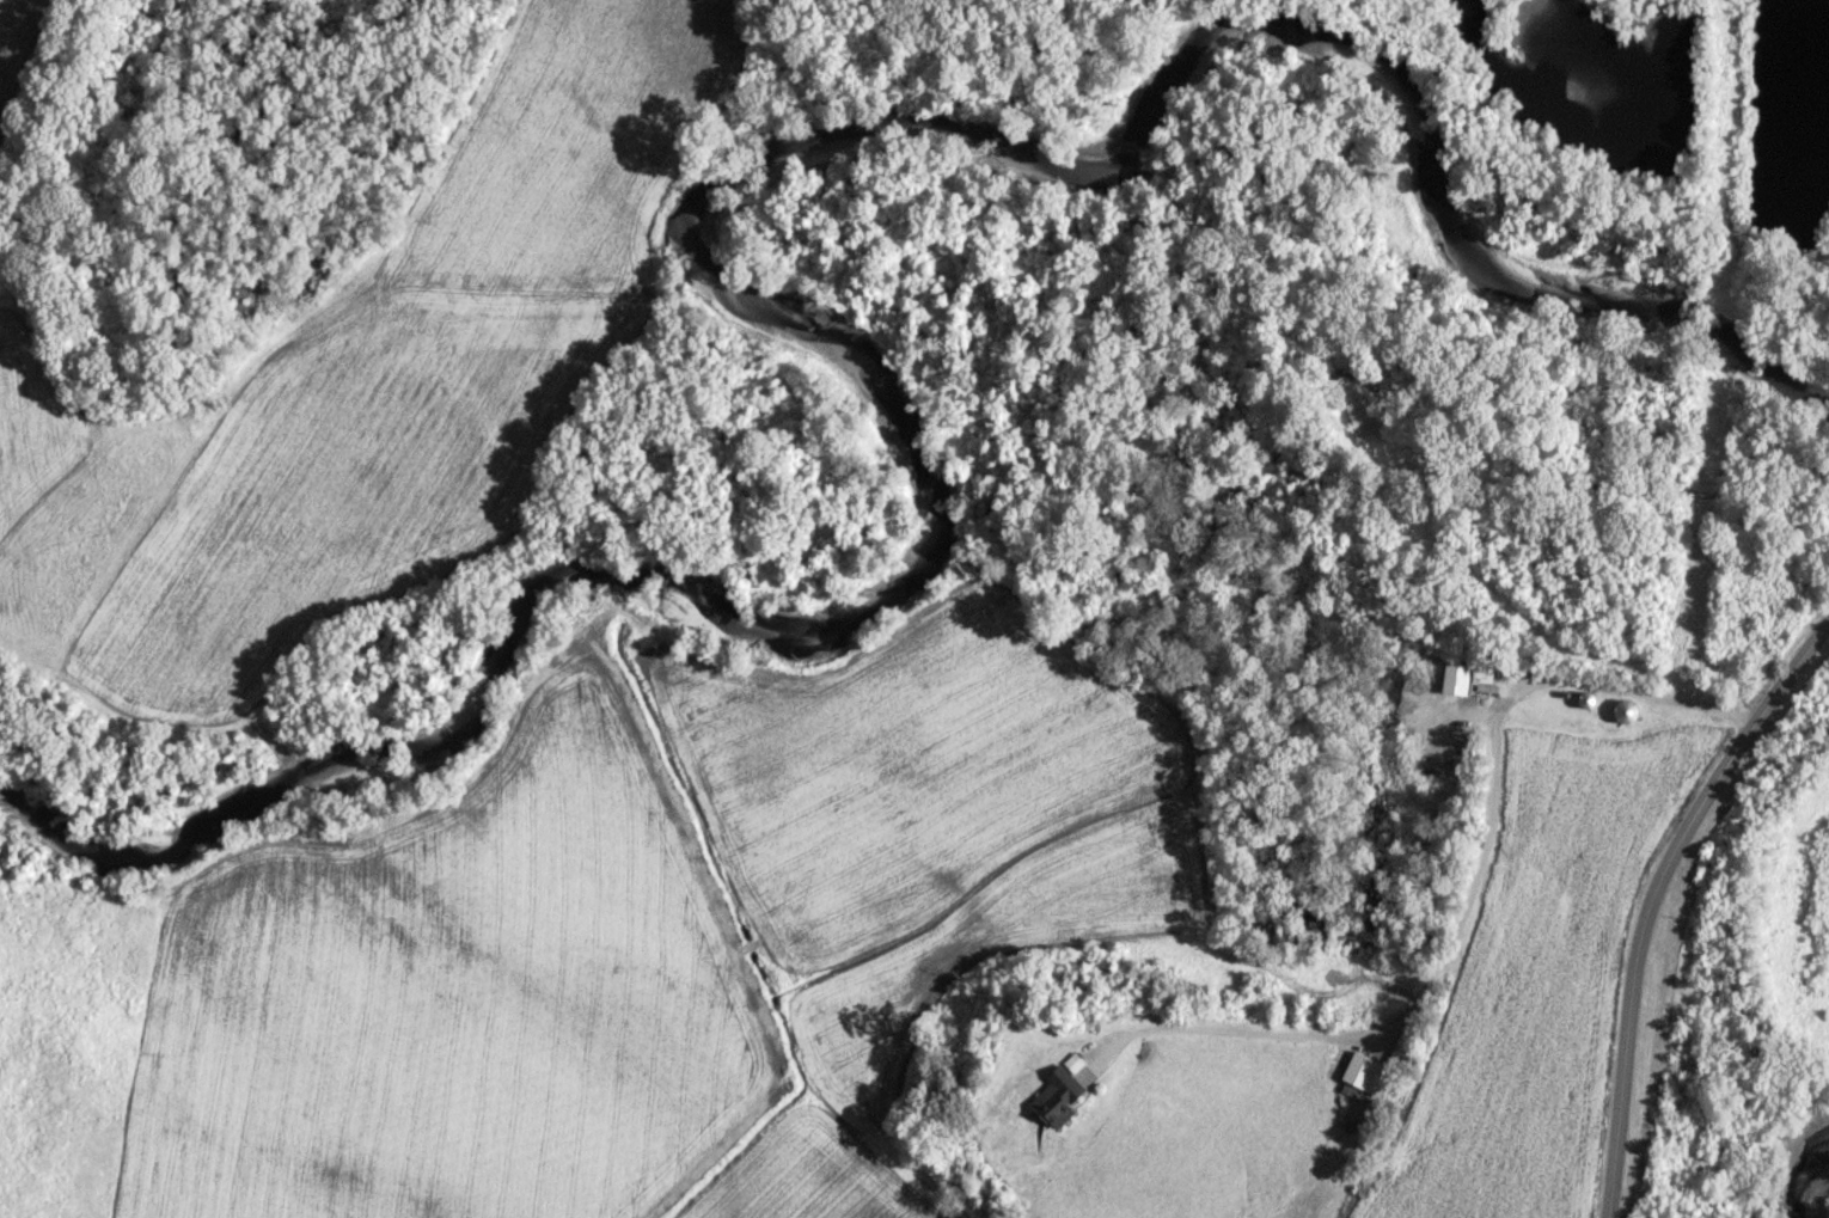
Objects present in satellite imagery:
river: (708, 280)
building: (1363, 416)
road: (1588, 435)
building: (1455, 678)
road: (1653, 894)
road: (1475, 901)
building: (1363, 1071)
building: (1056, 1096)
river: (1813, 1176)

